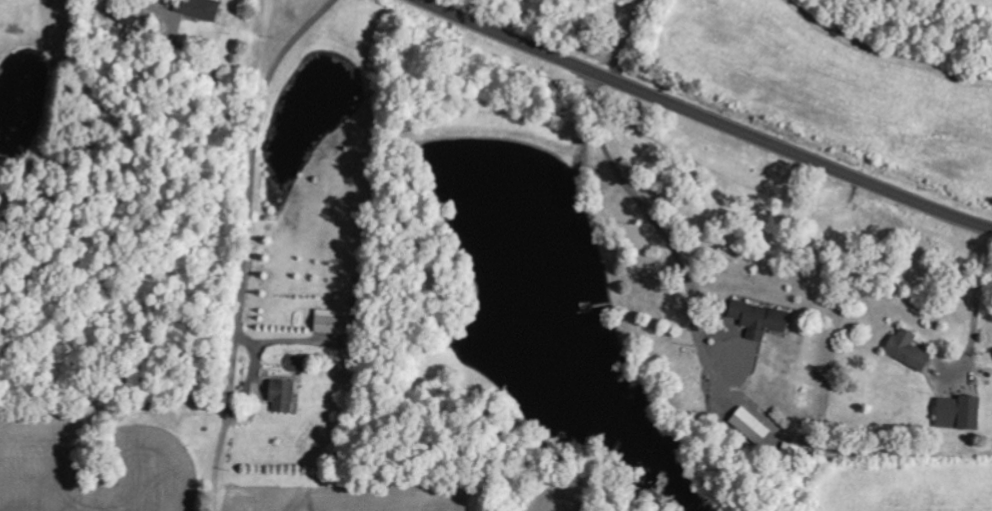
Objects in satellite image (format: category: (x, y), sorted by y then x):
building: (199, 8)
road: (706, 117)
road: (253, 254)
building: (759, 318)
building: (331, 321)
building: (907, 349)
building: (253, 390)
building: (282, 394)
building: (958, 412)
building: (750, 425)

